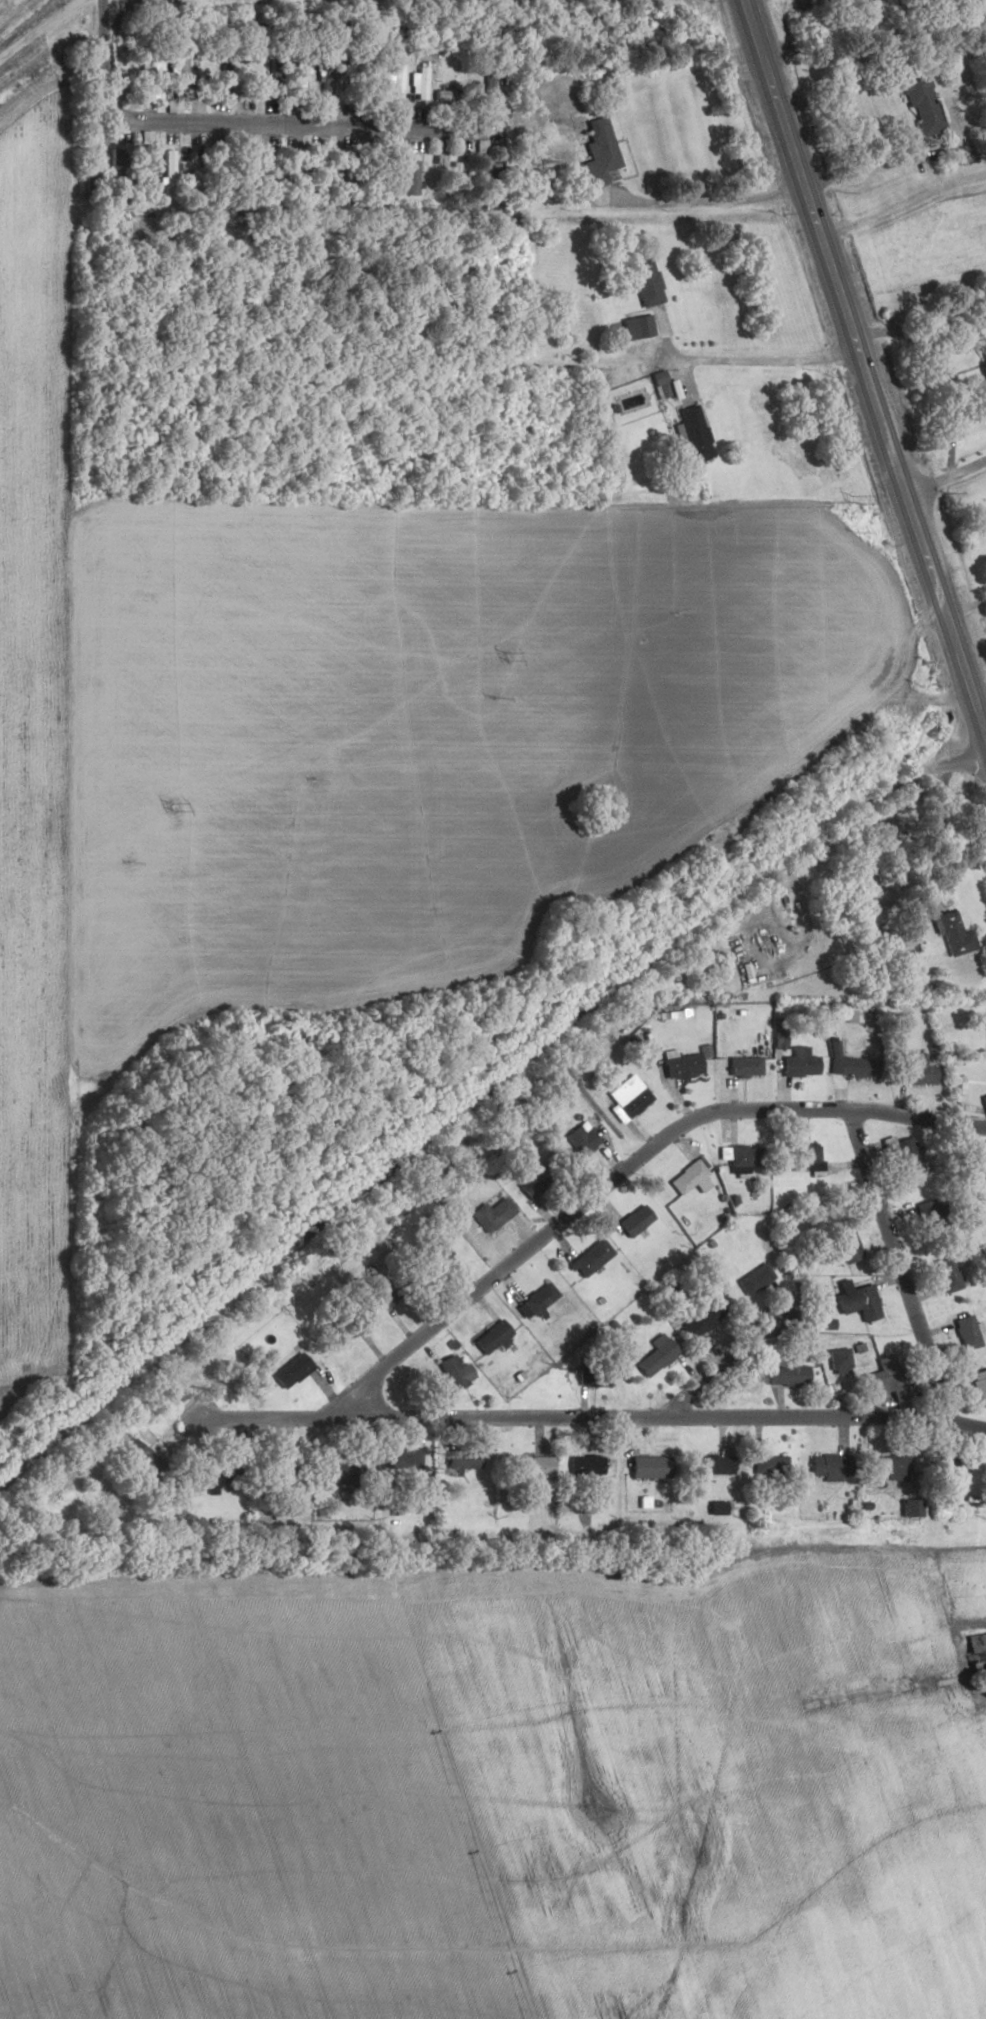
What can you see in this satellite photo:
road: (37, 28)
building: (276, 68)
building: (302, 71)
building: (180, 74)
building: (251, 75)
building: (156, 76)
building: (225, 78)
building: (374, 79)
building: (397, 79)
building: (489, 79)
building: (421, 82)
building: (455, 95)
building: (920, 103)
building: (247, 106)
road: (238, 127)
building: (598, 150)
building: (116, 168)
building: (290, 168)
building: (142, 170)
building: (169, 170)
building: (195, 175)
building: (411, 177)
building: (387, 179)
building: (480, 183)
road: (667, 206)
road: (901, 209)
building: (649, 291)
building: (636, 326)
building: (982, 359)
road: (762, 361)
road: (864, 375)
building: (693, 434)
road: (947, 477)
road: (965, 603)
road: (842, 735)
road: (985, 743)
building: (952, 930)
building: (903, 946)
building: (798, 1063)
building: (743, 1065)
building: (680, 1066)
building: (853, 1067)
building: (915, 1068)
building: (985, 1080)
building: (631, 1101)
building: (580, 1138)
building: (743, 1155)
building: (907, 1155)
building: (804, 1157)
road: (623, 1173)
building: (687, 1177)
building: (530, 1179)
building: (489, 1215)
building: (928, 1215)
building: (633, 1220)
building: (846, 1242)
building: (432, 1254)
building: (589, 1257)
road: (894, 1266)
building: (946, 1274)
building: (753, 1279)
building: (384, 1296)
building: (535, 1300)
building: (856, 1300)
building: (702, 1317)
building: (339, 1331)
building: (965, 1332)
building: (490, 1337)
building: (654, 1355)
building: (292, 1365)
building: (449, 1372)
building: (786, 1372)
road: (715, 1373)
building: (595, 1375)
building: (884, 1379)
building: (979, 1386)
road: (586, 1420)
building: (139, 1458)
building: (402, 1460)
building: (460, 1460)
building: (767, 1463)
building: (583, 1464)
building: (709, 1464)
building: (828, 1464)
building: (895, 1465)
building: (648, 1467)
building: (948, 1468)
building: (531, 1469)
building: (336, 1474)
building: (212, 1480)
building: (713, 1506)
building: (909, 1508)
building: (976, 1653)
road: (913, 1673)
road: (824, 1887)

